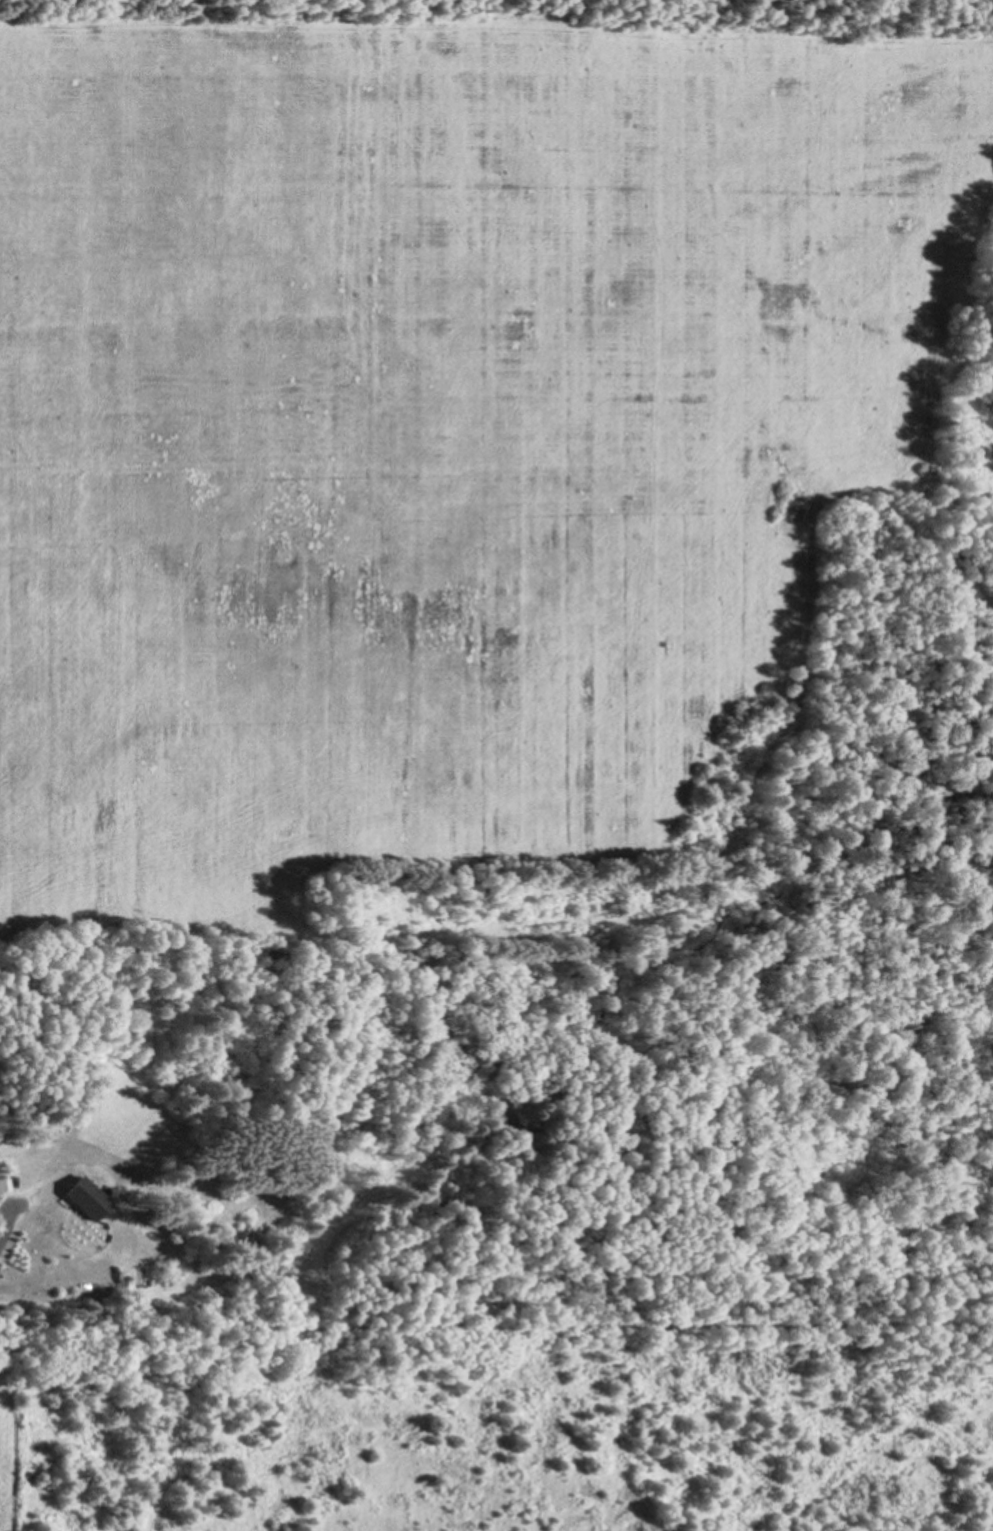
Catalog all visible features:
crop: (435, 428)
building: (3, 1183)
building: (84, 1197)
crop: (10, 1466)
crop: (451, 1470)

